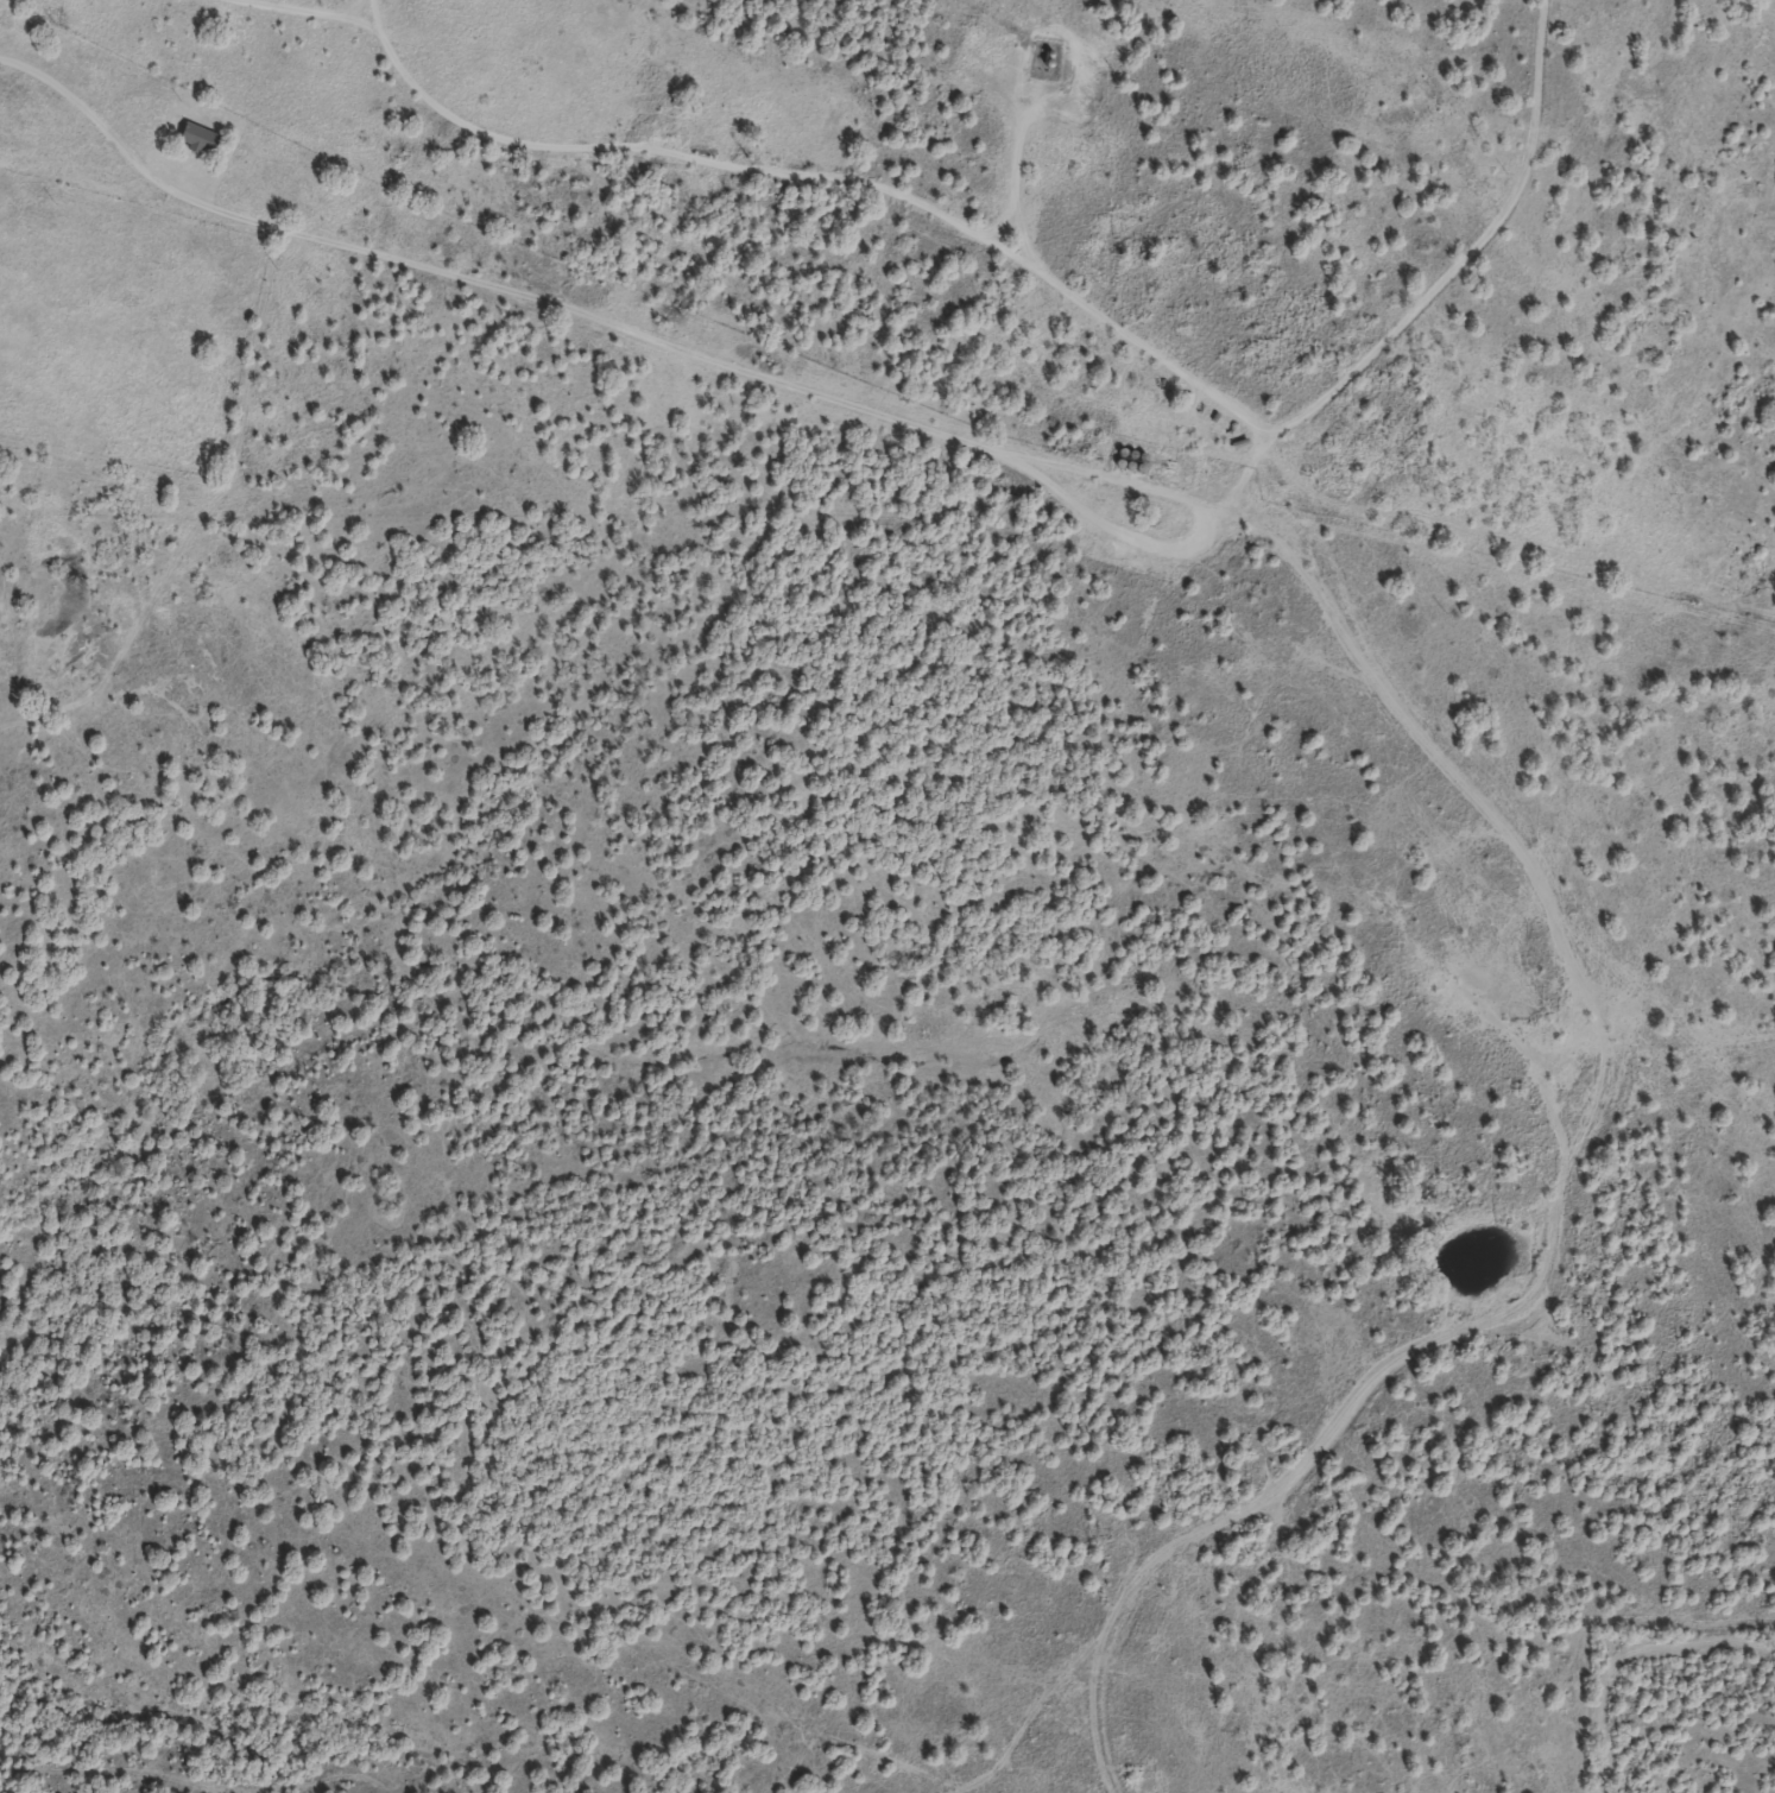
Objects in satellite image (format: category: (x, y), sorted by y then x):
building: (198, 139)

